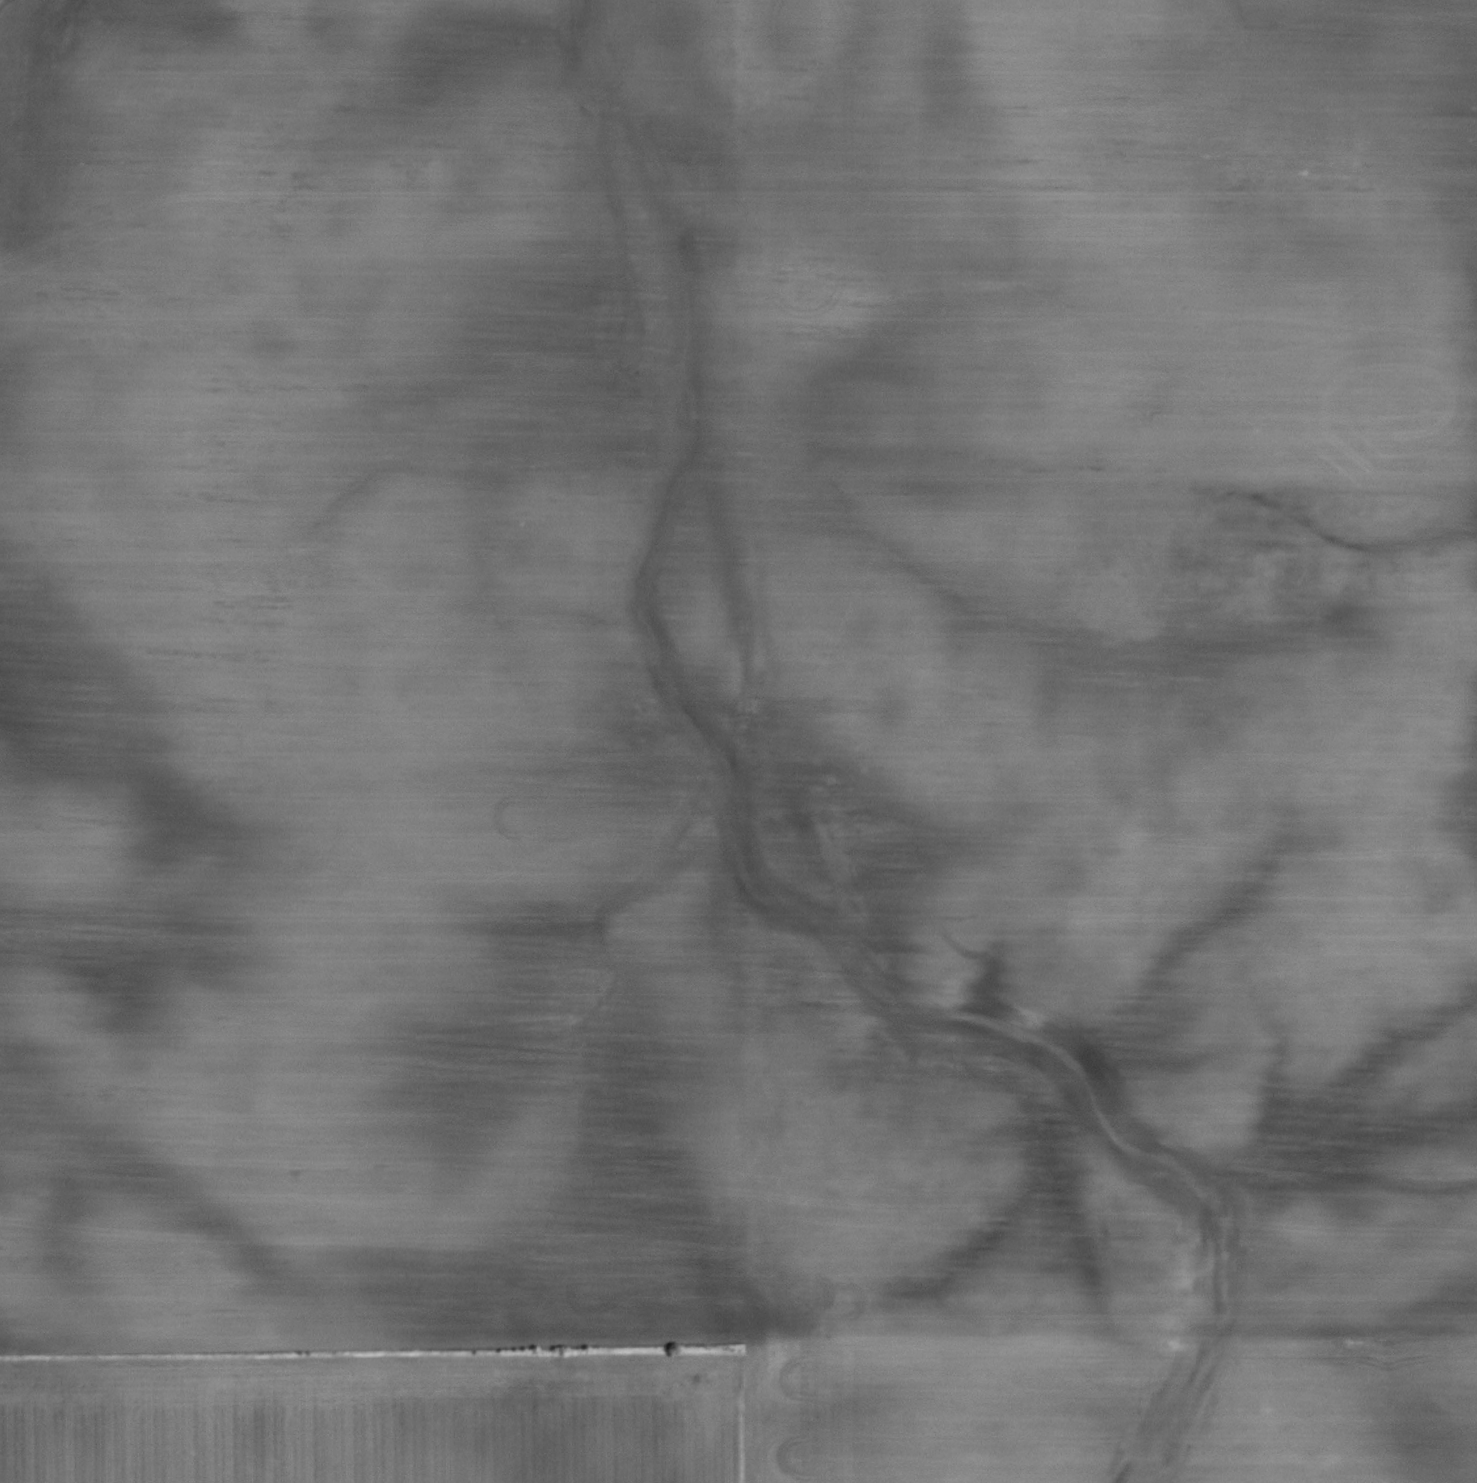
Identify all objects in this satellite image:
road: (1317, 529)

